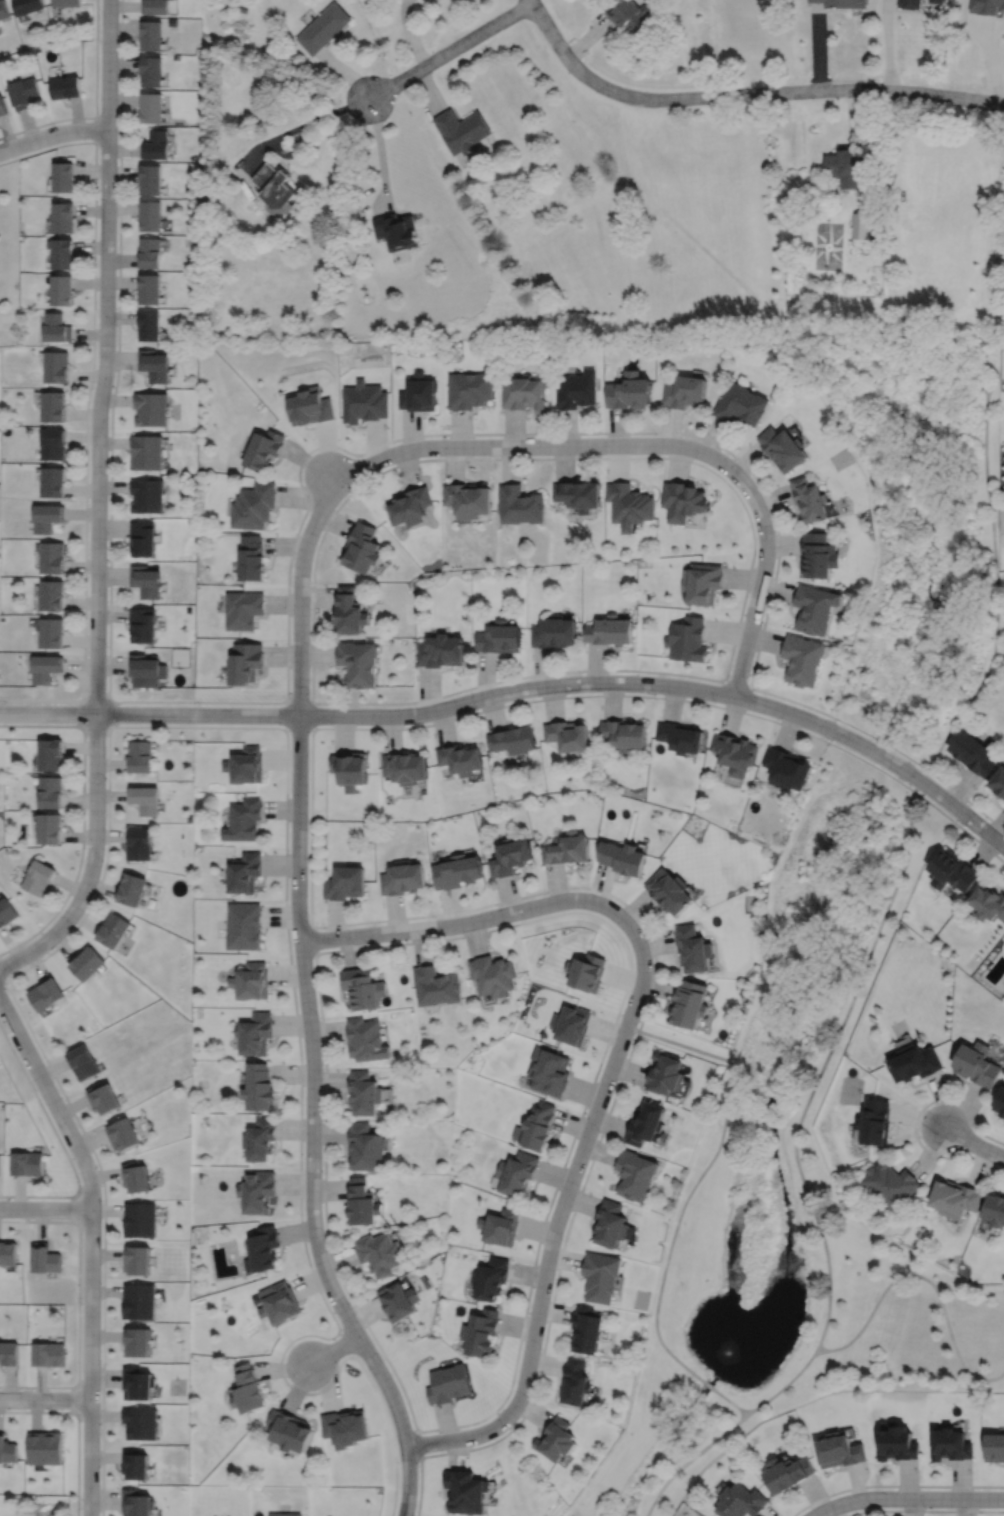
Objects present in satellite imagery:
road: (531, 0)
building: (939, 0)
building: (842, 2)
building: (67, 3)
building: (909, 3)
building: (27, 6)
building: (155, 6)
building: (242, 9)
building: (3, 10)
building: (629, 14)
building: (322, 28)
road: (410, 33)
building: (150, 35)
road: (587, 37)
road: (887, 44)
road: (817, 47)
road: (450, 50)
building: (150, 70)
road: (346, 73)
building: (66, 86)
street lamp: (118, 90)
building: (23, 91)
road: (429, 91)
road: (746, 94)
building: (2, 104)
building: (150, 107)
road: (95, 108)
road: (852, 114)
street lamp: (52, 124)
road: (299, 127)
road: (96, 130)
building: (462, 130)
road: (52, 134)
building: (154, 145)
road: (293, 151)
road: (379, 154)
building: (844, 164)
building: (64, 176)
building: (149, 180)
building: (273, 188)
street lamp: (98, 200)
building: (204, 202)
building: (63, 216)
building: (150, 216)
building: (861, 225)
building: (397, 231)
park: (9, 250)
building: (63, 253)
building: (150, 253)
building: (150, 289)
building: (62, 290)
street lamp: (117, 309)
building: (150, 326)
building: (57, 328)
building: (155, 365)
building: (57, 367)
road: (988, 367)
street lamp: (94, 388)
building: (468, 389)
building: (576, 389)
building: (629, 391)
building: (522, 392)
building: (683, 392)
building: (418, 393)
building: (363, 402)
building: (738, 405)
building: (54, 407)
building: (308, 408)
building: (152, 410)
road: (87, 411)
street lamp: (657, 434)
street lamp: (550, 435)
street lamp: (445, 436)
building: (53, 445)
road: (523, 445)
building: (781, 449)
building: (261, 450)
building: (148, 453)
street lamp: (734, 459)
street lamp: (108, 474)
building: (53, 483)
street lamp: (349, 490)
road: (735, 493)
building: (579, 495)
building: (149, 496)
building: (468, 500)
building: (808, 500)
building: (683, 501)
road: (98, 504)
building: (519, 505)
building: (629, 505)
building: (252, 506)
building: (409, 507)
building: (47, 519)
road: (300, 521)
park: (917, 525)
street lamp: (775, 532)
building: (144, 540)
building: (361, 549)
building: (817, 557)
building: (52, 558)
building: (249, 559)
road: (763, 574)
street lamp: (89, 576)
building: (147, 582)
street lamp: (310, 582)
building: (702, 583)
road: (995, 595)
building: (52, 597)
building: (241, 609)
building: (815, 609)
building: (348, 610)
building: (144, 625)
street lamp: (761, 627)
building: (610, 630)
building: (553, 631)
building: (52, 633)
building: (499, 637)
building: (688, 638)
street lamp: (107, 646)
building: (441, 649)
building: (802, 658)
building: (244, 661)
building: (358, 661)
building: (47, 666)
building: (147, 669)
road: (569, 683)
road: (737, 685)
street lamp: (593, 691)
street lamp: (310, 693)
road: (96, 696)
road: (553, 697)
street lamp: (716, 703)
street lamp: (200, 704)
street lamp: (477, 708)
road: (77, 712)
road: (47, 713)
road: (116, 713)
street lamp: (118, 723)
street lamp: (377, 725)
road: (142, 726)
road: (312, 727)
road: (96, 732)
building: (624, 732)
building: (568, 734)
building: (679, 736)
street lamp: (823, 737)
building: (511, 739)
building: (973, 751)
building: (735, 752)
building: (52, 754)
building: (139, 755)
building: (459, 758)
building: (246, 765)
building: (403, 767)
building: (348, 769)
building: (788, 769)
street lamp: (105, 779)
building: (998, 781)
building: (51, 791)
building: (145, 798)
road: (83, 817)
building: (244, 819)
street lamp: (308, 820)
street lamp: (963, 825)
building: (50, 827)
building: (139, 843)
road: (981, 843)
street lamp: (85, 847)
building: (566, 849)
building: (509, 857)
building: (622, 858)
building: (952, 870)
building: (456, 871)
building: (245, 872)
building: (39, 877)
building: (401, 879)
building: (343, 883)
building: (131, 888)
building: (669, 891)
street lamp: (547, 893)
building: (988, 902)
building: (7, 912)
street lamp: (434, 917)
road: (459, 923)
road: (518, 923)
building: (243, 924)
street lamp: (72, 928)
building: (113, 930)
street lamp: (646, 934)
road: (313, 940)
building: (693, 949)
building: (87, 964)
road: (3, 970)
building: (587, 972)
building: (494, 976)
building: (250, 980)
road: (3, 984)
building: (437, 984)
building: (363, 986)
building: (45, 994)
road: (307, 1001)
building: (689, 1005)
street lamp: (318, 1016)
building: (572, 1025)
building: (255, 1032)
street lamp: (633, 1035)
building: (366, 1038)
road: (826, 1062)
building: (83, 1063)
building: (915, 1063)
building: (977, 1065)
building: (550, 1072)
building: (667, 1076)
road: (619, 1083)
building: (258, 1086)
building: (365, 1091)
building: (103, 1099)
building: (1000, 1103)
road: (916, 1118)
street lamp: (323, 1119)
building: (875, 1123)
building: (647, 1125)
building: (536, 1127)
street lamp: (599, 1131)
building: (123, 1135)
street lamp: (920, 1137)
building: (260, 1138)
road: (60, 1142)
road: (972, 1143)
building: (365, 1146)
building: (29, 1164)
building: (635, 1172)
building: (518, 1174)
road: (702, 1174)
building: (136, 1178)
park: (793, 1179)
street lamp: (80, 1180)
building: (892, 1185)
building: (257, 1191)
building: (956, 1200)
building: (363, 1202)
road: (45, 1208)
road: (74, 1208)
road: (560, 1210)
building: (994, 1212)
building: (140, 1219)
building: (611, 1221)
building: (499, 1225)
street lamp: (325, 1234)
street lamp: (562, 1240)
road: (92, 1246)
building: (261, 1249)
building: (8, 1251)
building: (380, 1253)
building: (46, 1257)
building: (138, 1259)
building: (490, 1275)
building: (601, 1275)
road: (926, 1278)
building: (140, 1301)
building: (399, 1301)
building: (279, 1302)
road: (78, 1303)
street lamp: (81, 1304)
building: (586, 1328)
building: (479, 1330)
building: (137, 1342)
street lamp: (541, 1347)
road: (334, 1349)
building: (9, 1352)
building: (48, 1352)
street lamp: (384, 1359)
building: (575, 1380)
building: (447, 1382)
building: (138, 1384)
road: (785, 1386)
road: (708, 1387)
building: (250, 1390)
road: (44, 1398)
road: (72, 1398)
road: (733, 1405)
street lamp: (80, 1421)
building: (141, 1424)
road: (77, 1426)
building: (346, 1428)
street lamp: (506, 1430)
building: (293, 1432)
building: (556, 1438)
road: (418, 1444)
building: (899, 1445)
building: (952, 1446)
building: (45, 1447)
building: (7, 1448)
building: (995, 1448)
building: (840, 1451)
road: (691, 1460)
building: (135, 1465)
street lamp: (418, 1466)
building: (787, 1475)
road: (893, 1485)
building: (465, 1491)
road: (907, 1498)
road: (393, 1501)
building: (740, 1502)
building: (137, 1503)
street lamp: (925, 1508)
road: (924, 1510)
building: (285, 1514)

